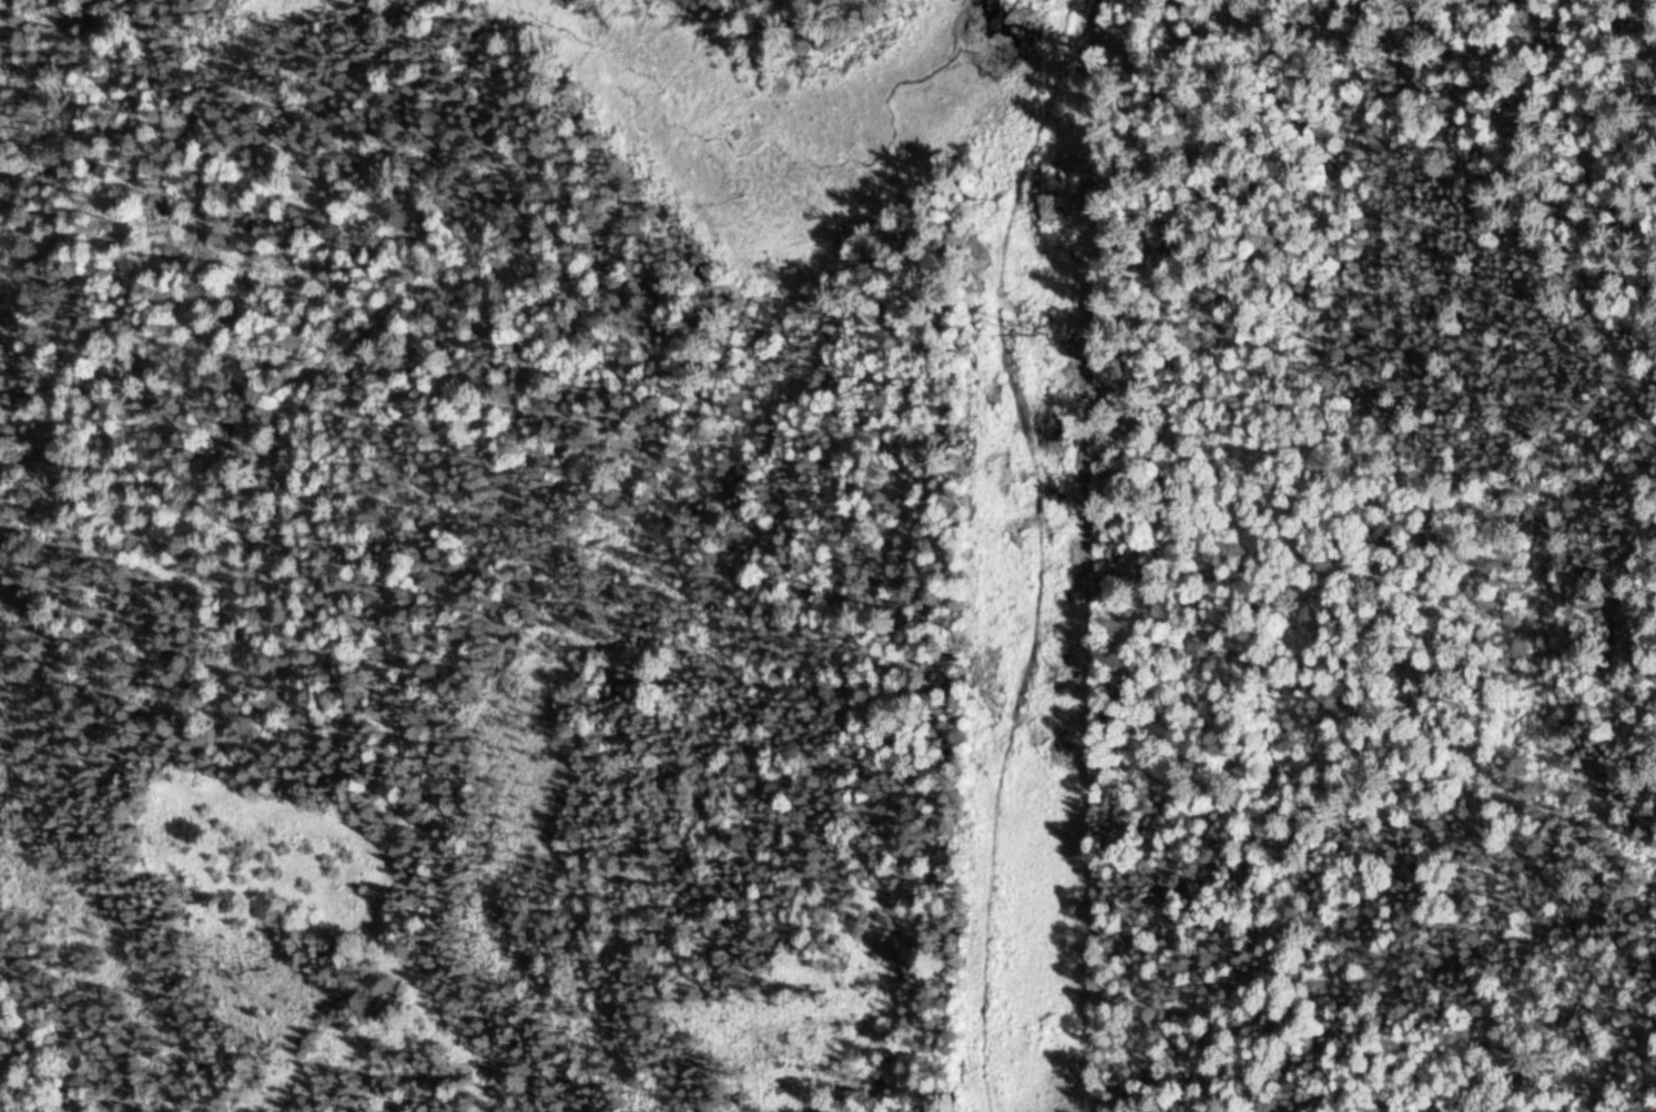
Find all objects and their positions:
power tower: (1045, 326)
road: (499, 1095)

